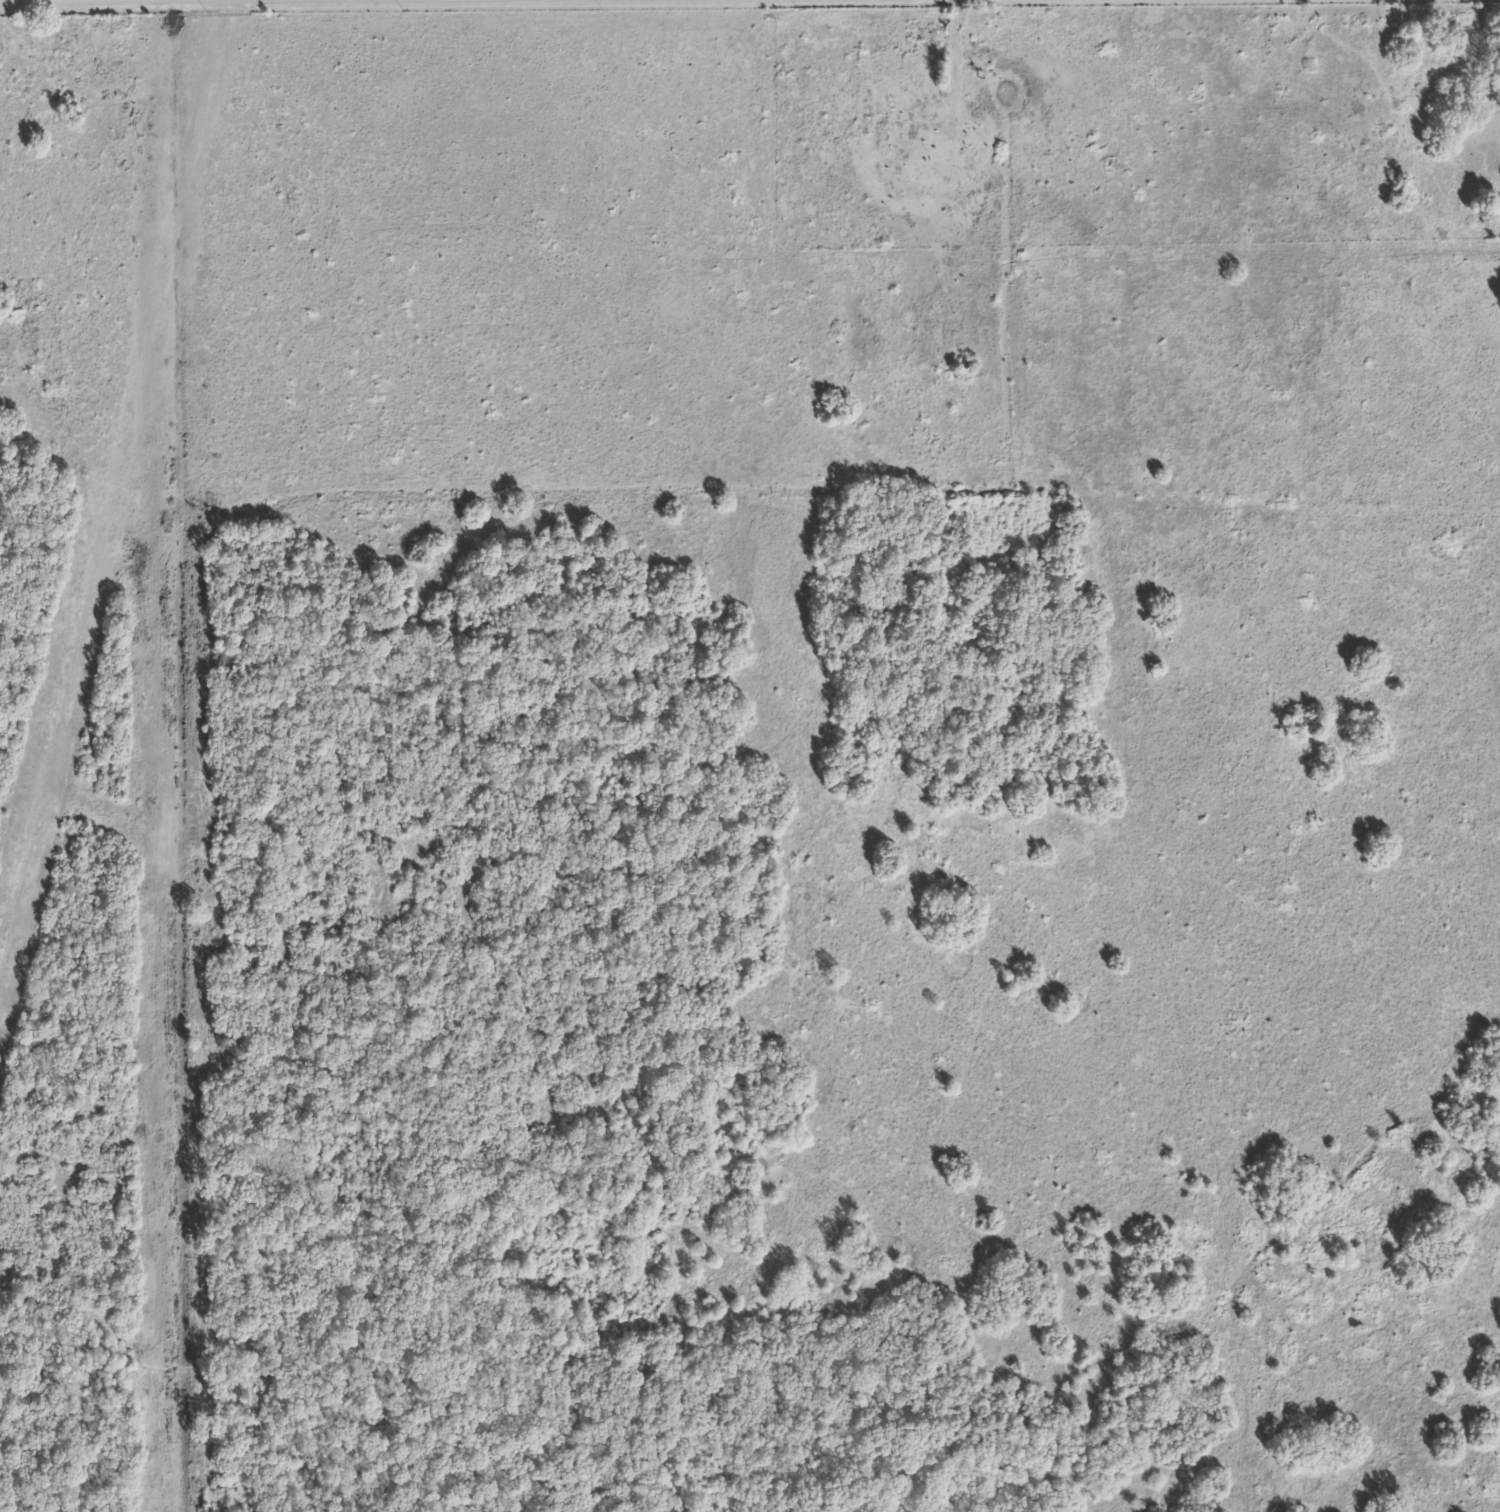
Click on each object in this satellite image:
road: (44, 0)

